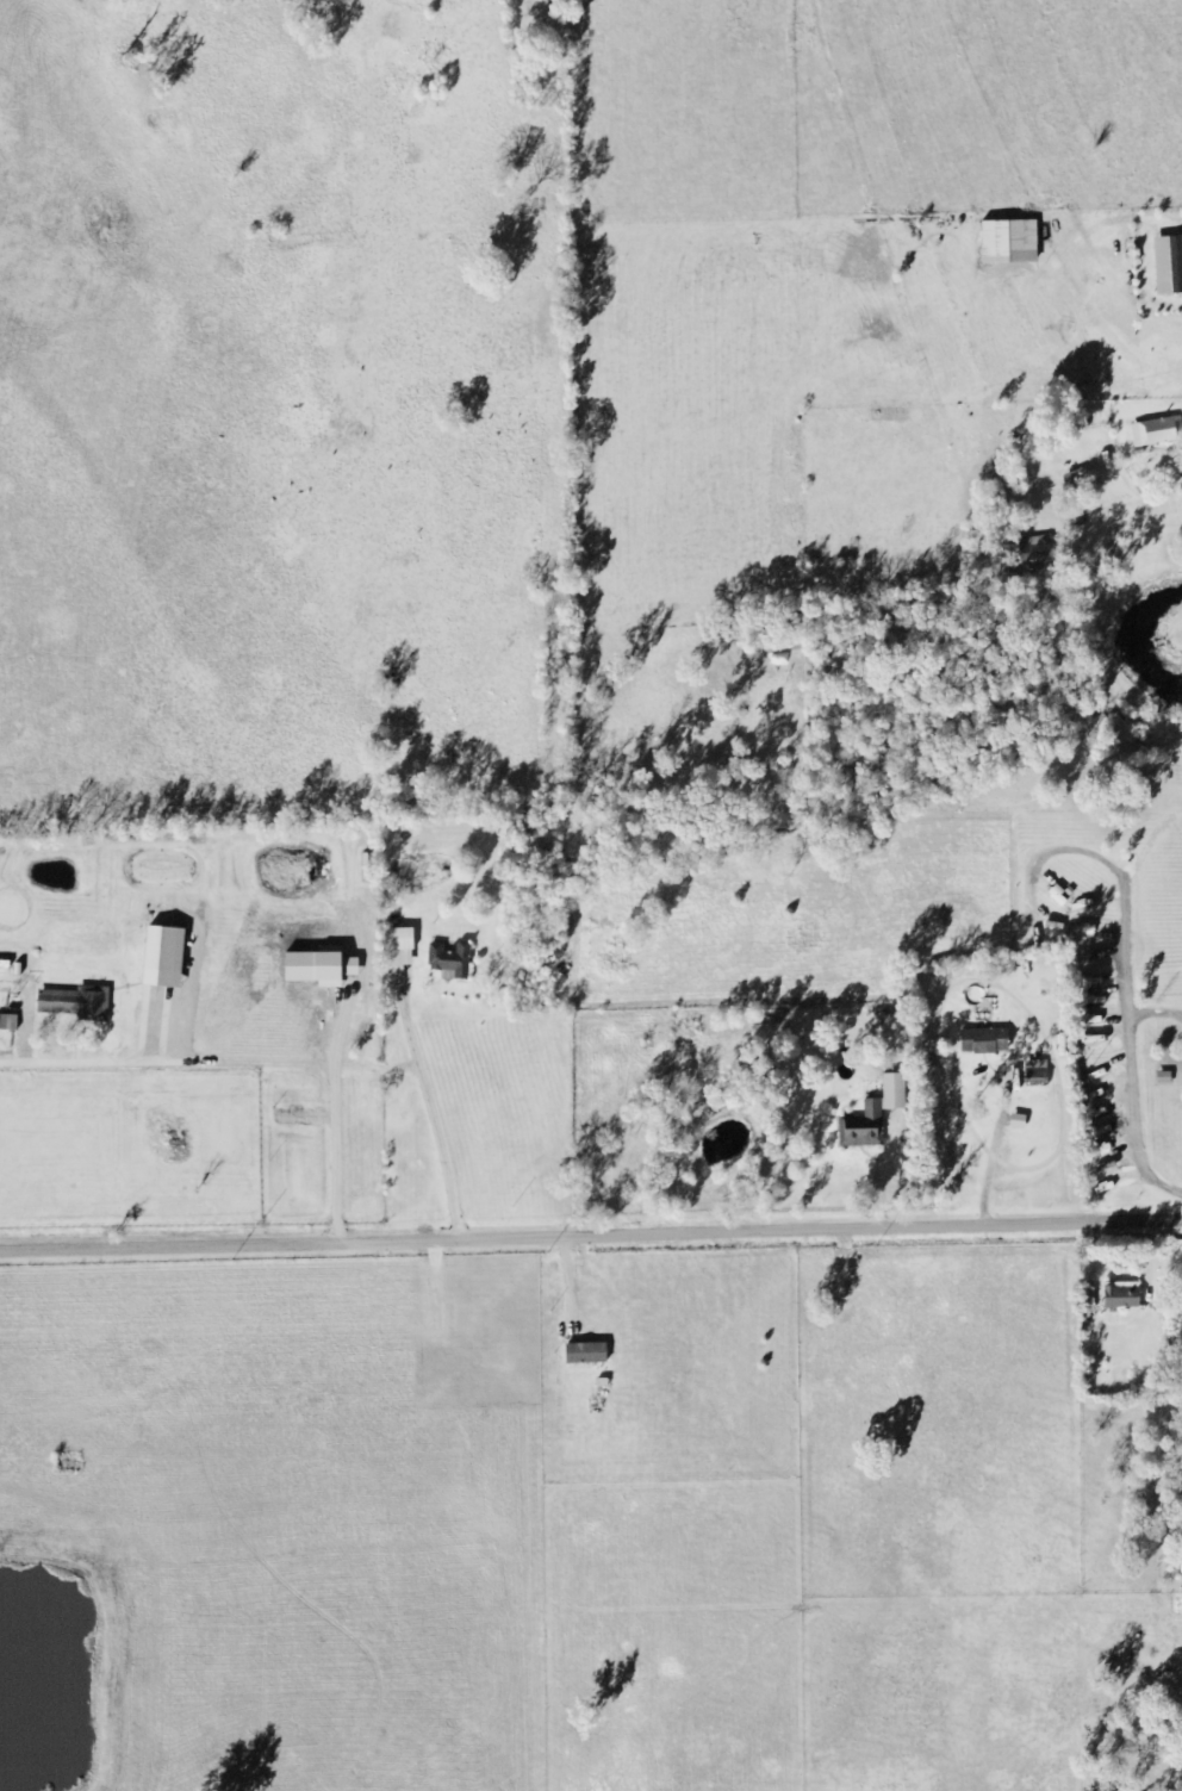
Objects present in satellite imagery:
building: (1174, 266)
building: (1158, 433)
building: (1031, 558)
building: (448, 959)
building: (8, 1025)
building: (981, 1043)
road: (93, 1063)
road: (1145, 1092)
building: (870, 1117)
road: (428, 1120)
building: (1014, 1123)
road: (591, 1238)
building: (1169, 1293)
building: (1119, 1296)
road: (850, 1549)
road: (1157, 1721)

